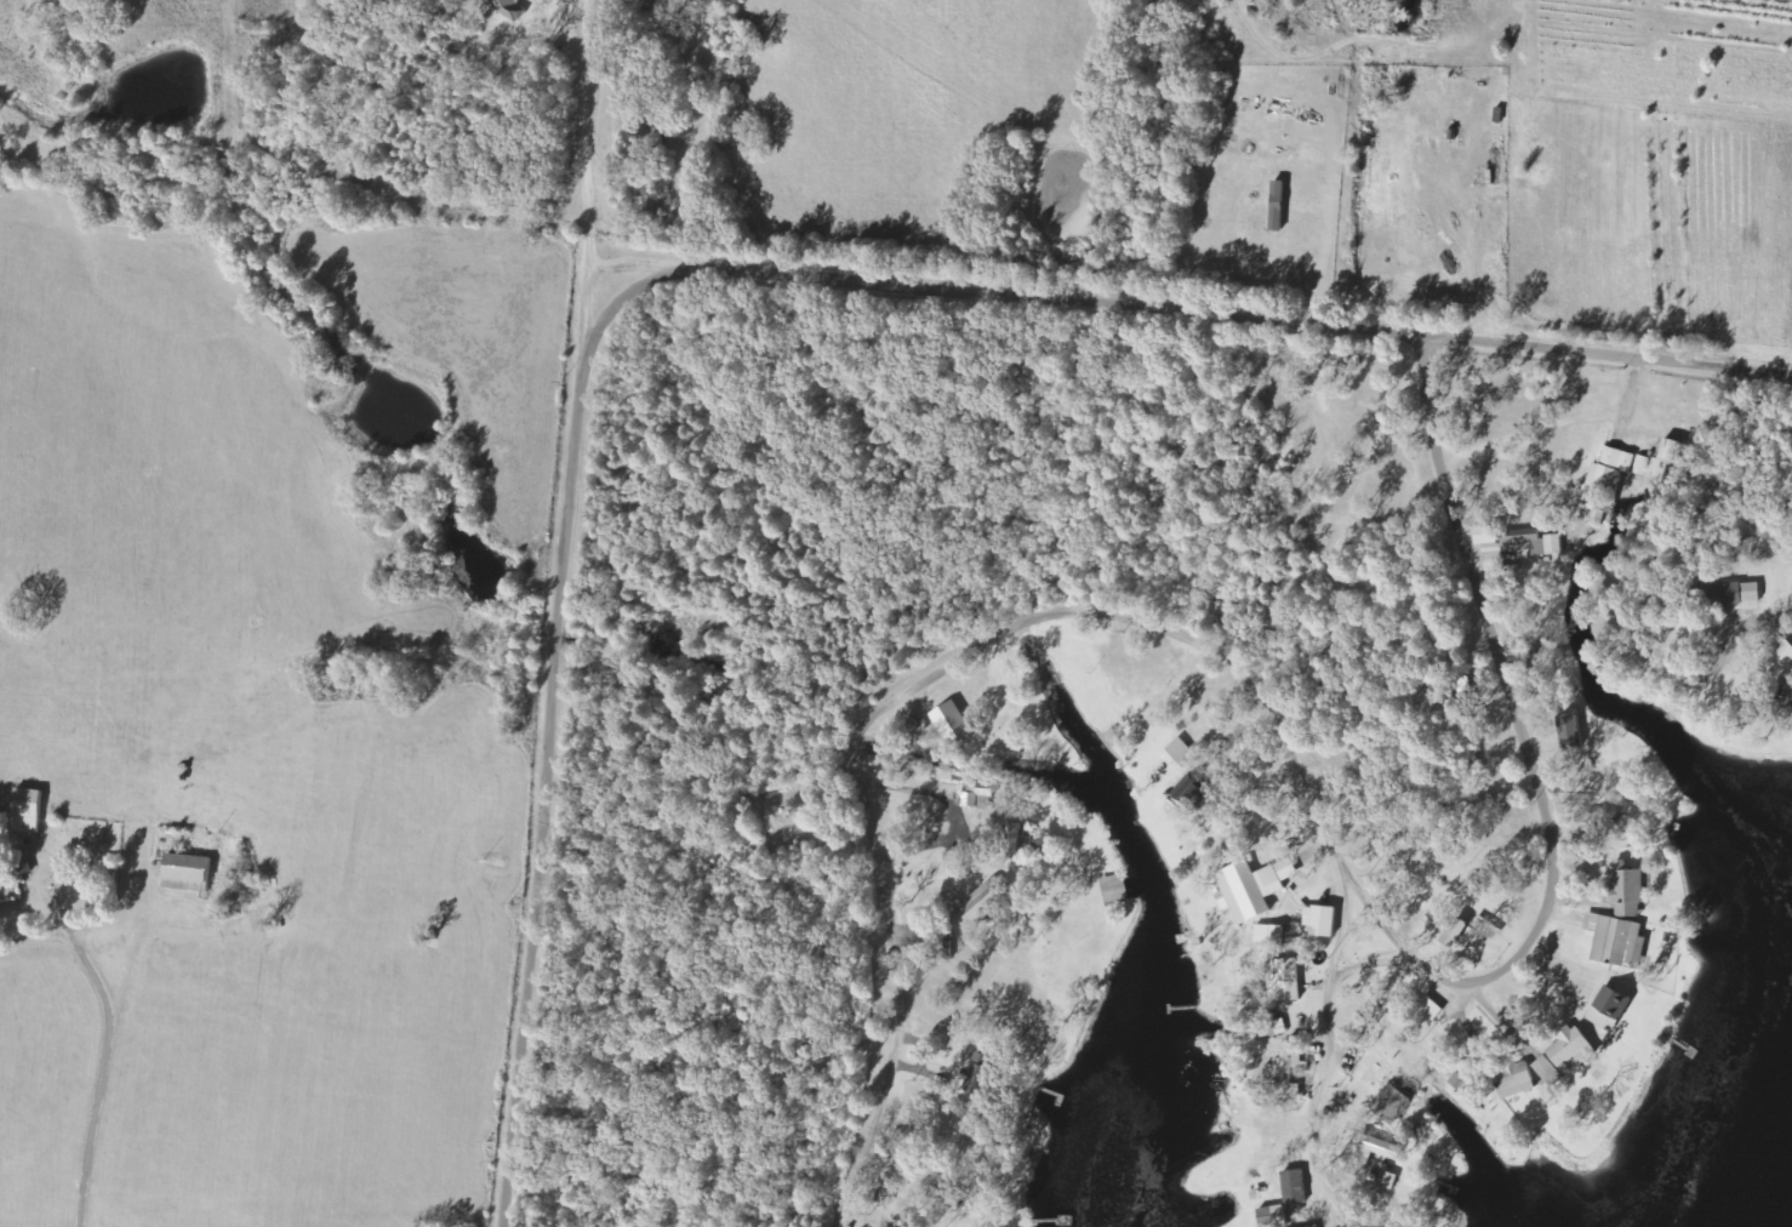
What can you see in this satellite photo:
building: (729, 1)
building: (509, 7)
road: (581, 169)
building: (1278, 206)
road: (1170, 307)
building: (1665, 460)
building: (1643, 466)
building: (1605, 484)
building: (1488, 535)
building: (1534, 542)
building: (1730, 594)
road: (1741, 606)
building: (1782, 650)
building: (1782, 697)
building: (953, 723)
building: (1570, 729)
road: (550, 783)
building: (1191, 792)
building: (28, 811)
road: (872, 820)
building: (1020, 840)
building: (23, 863)
building: (188, 868)
building: (1249, 890)
building: (1627, 890)
road: (142, 891)
building: (982, 906)
building: (1322, 920)
road: (1542, 921)
building: (1454, 932)
building: (1271, 935)
building: (1617, 941)
road: (1368, 964)
building: (1285, 980)
building: (1431, 1008)
building: (1610, 1009)
road: (1328, 1044)
building: (1573, 1050)
building: (1550, 1071)
building: (981, 1074)
building: (1286, 1074)
building: (1516, 1078)
building: (1457, 1080)
building: (1393, 1103)
building: (1371, 1153)
building: (1388, 1180)
building: (1295, 1187)
building: (1273, 1216)
building: (1312, 1226)

